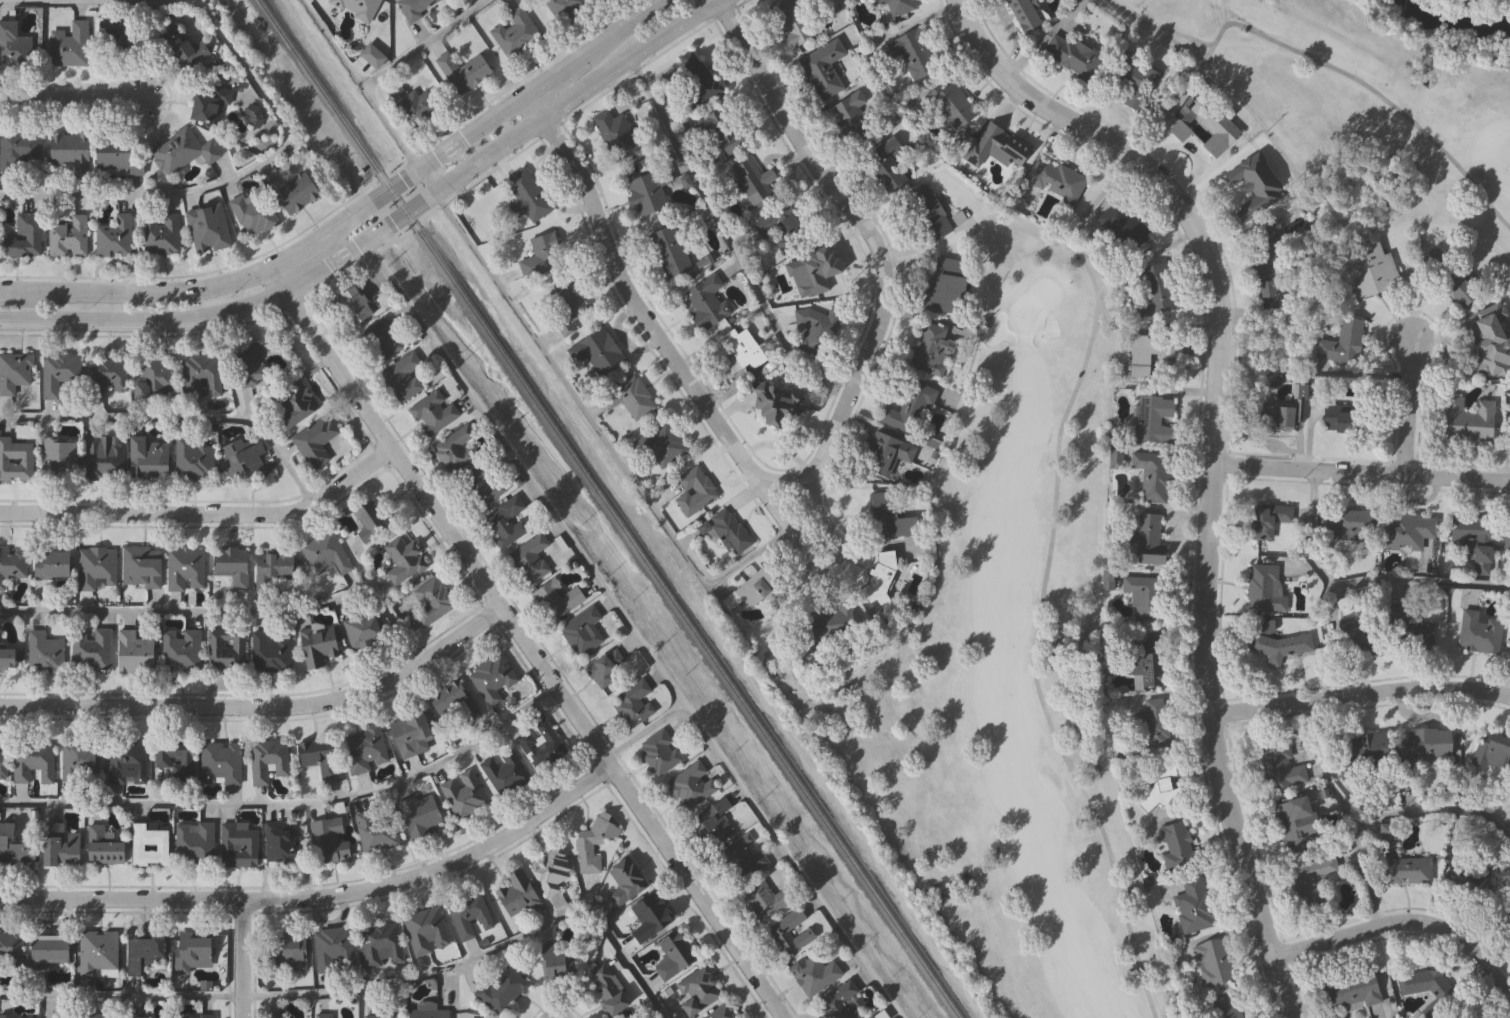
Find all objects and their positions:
building: (897, 6)
building: (356, 7)
building: (563, 8)
road: (1222, 13)
building: (1024, 14)
building: (792, 20)
road: (1009, 27)
road: (1158, 29)
building: (513, 33)
building: (122, 38)
road: (425, 43)
building: (13, 45)
building: (68, 45)
building: (181, 47)
road: (1197, 51)
building: (916, 53)
building: (1072, 55)
building: (822, 69)
building: (461, 71)
building: (695, 77)
building: (1132, 81)
road: (361, 85)
road: (1375, 92)
road: (72, 98)
park: (1365, 98)
building: (412, 104)
building: (208, 105)
building: (952, 106)
road: (278, 112)
building: (851, 116)
building: (1213, 126)
building: (723, 129)
building: (617, 134)
building: (1002, 145)
road: (1189, 149)
building: (181, 150)
building: (20, 152)
building: (68, 153)
building: (118, 158)
road: (509, 159)
building: (884, 165)
building: (751, 180)
building: (1056, 180)
building: (649, 190)
building: (1242, 192)
building: (295, 194)
building: (527, 194)
road: (343, 204)
building: (251, 213)
building: (929, 213)
road: (358, 214)
building: (781, 225)
building: (1122, 226)
building: (205, 228)
road: (384, 229)
building: (160, 234)
building: (24, 237)
building: (115, 237)
road: (725, 237)
building: (67, 238)
building: (1265, 250)
building: (668, 251)
building: (541, 256)
building: (811, 271)
building: (1369, 271)
road: (282, 277)
building: (1447, 277)
building: (945, 286)
building: (1154, 289)
building: (1266, 296)
building: (704, 302)
building: (352, 305)
building: (564, 307)
building: (817, 328)
building: (379, 340)
building: (1340, 343)
building: (1489, 343)
building: (933, 349)
building: (741, 351)
building: (598, 352)
building: (1146, 354)
building: (249, 365)
building: (15, 372)
building: (59, 374)
building: (110, 375)
building: (202, 376)
building: (154, 378)
building: (401, 378)
building: (1298, 391)
building: (628, 397)
building: (290, 404)
building: (776, 404)
road: (1409, 405)
building: (910, 409)
building: (431, 413)
building: (1280, 415)
road: (176, 418)
building: (1353, 419)
building: (1151, 420)
building: (1466, 421)
road: (348, 424)
road: (598, 429)
building: (313, 442)
building: (663, 444)
building: (453, 449)
building: (885, 453)
building: (1115, 453)
building: (148, 456)
road: (817, 456)
building: (104, 458)
building: (242, 458)
road: (1214, 458)
building: (14, 460)
building: (58, 460)
building: (193, 461)
road: (1362, 469)
building: (1151, 476)
building: (696, 483)
building: (485, 486)
railway: (611, 509)
road: (1053, 511)
road: (207, 514)
building: (889, 518)
building: (1266, 520)
building: (372, 521)
building: (506, 521)
building: (1346, 525)
building: (1406, 530)
building: (729, 532)
building: (1506, 534)
building: (1147, 540)
building: (1470, 541)
building: (325, 555)
building: (529, 558)
building: (402, 561)
road: (825, 564)
building: (11, 565)
building: (49, 566)
building: (140, 567)
building: (230, 567)
building: (271, 567)
building: (94, 568)
building: (184, 570)
road: (1358, 581)
building: (1261, 586)
building: (753, 591)
building: (1141, 597)
building: (555, 599)
building: (430, 602)
road: (229, 613)
building: (821, 627)
building: (362, 629)
road: (631, 630)
building: (581, 631)
building: (1478, 633)
building: (1349, 636)
building: (1412, 636)
building: (316, 646)
building: (1278, 647)
building: (180, 650)
building: (90, 651)
building: (225, 651)
building: (133, 653)
building: (269, 653)
building: (43, 654)
road: (532, 655)
building: (6, 658)
building: (1147, 666)
building: (607, 670)
park: (1006, 675)
building: (491, 678)
road: (1363, 695)
building: (450, 704)
building: (633, 705)
road: (262, 708)
building: (1152, 724)
road: (642, 732)
building: (409, 736)
building: (1426, 744)
building: (539, 746)
building: (362, 749)
building: (659, 753)
building: (1360, 753)
building: (1492, 754)
building: (317, 757)
building: (3, 760)
building: (175, 760)
building: (267, 762)
building: (32, 763)
building: (78, 763)
building: (126, 764)
building: (219, 764)
building: (1279, 767)
building: (503, 772)
building: (691, 784)
building: (1159, 787)
building: (462, 795)
road: (291, 804)
road: (1382, 814)
building: (417, 815)
building: (715, 819)
building: (1294, 825)
building: (374, 829)
building: (327, 841)
building: (193, 842)
building: (281, 842)
building: (592, 842)
building: (237, 845)
building: (1175, 846)
building: (13, 847)
building: (58, 847)
building: (148, 847)
building: (101, 848)
building: (743, 857)
building: (1401, 867)
building: (548, 872)
building: (627, 882)
building: (1312, 882)
building: (519, 895)
road: (320, 897)
building: (766, 900)
building: (1192, 906)
building: (1507, 908)
building: (649, 914)
building: (470, 917)
road: (1401, 922)
building: (427, 929)
building: (1508, 932)
building: (792, 933)
building: (383, 943)
building: (334, 946)
building: (53, 947)
building: (194, 949)
building: (11, 950)
building: (100, 950)
building: (147, 951)
building: (287, 952)
building: (674, 957)
road: (241, 958)
building: (557, 958)
building: (1211, 960)
building: (818, 971)
building: (1422, 981)
building: (610, 986)
building: (502, 988)
building: (700, 988)
road: (368, 989)
building: (1348, 990)
building: (843, 1000)
building: (1222, 1007)
building: (724, 1011)
building: (429, 1013)
building: (97, 1015)
building: (197, 1015)
building: (325, 1015)
building: (383, 1015)
building: (8, 1016)
building: (142, 1016)
building: (277, 1016)
building: (1469, 1016)
building: (874, 1017)

